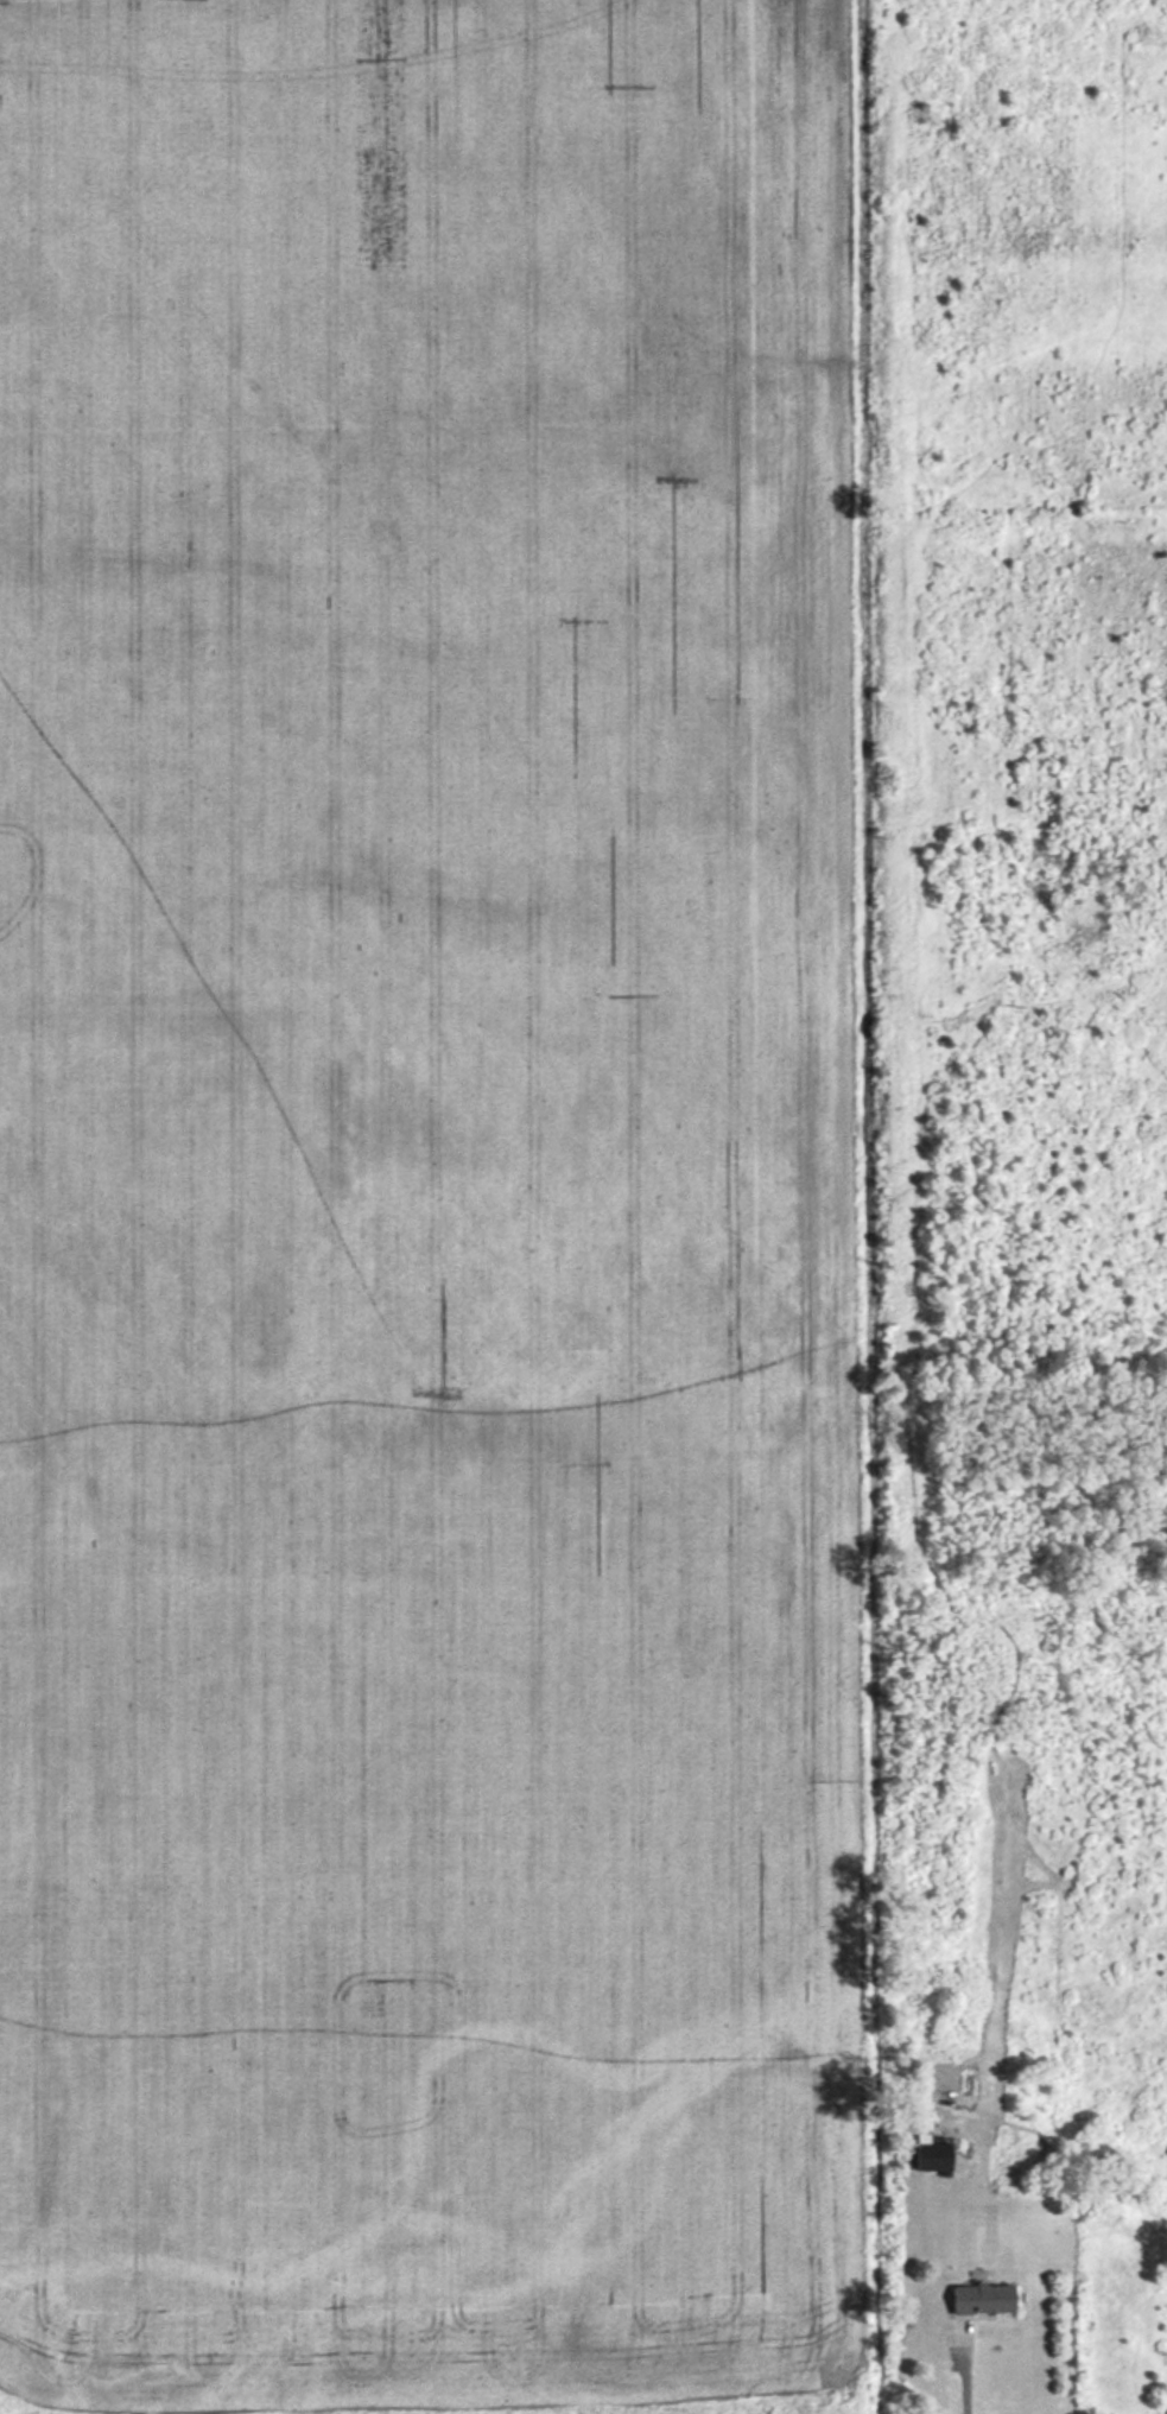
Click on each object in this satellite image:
building: (925, 2154)
building: (972, 2296)
road: (962, 2365)

